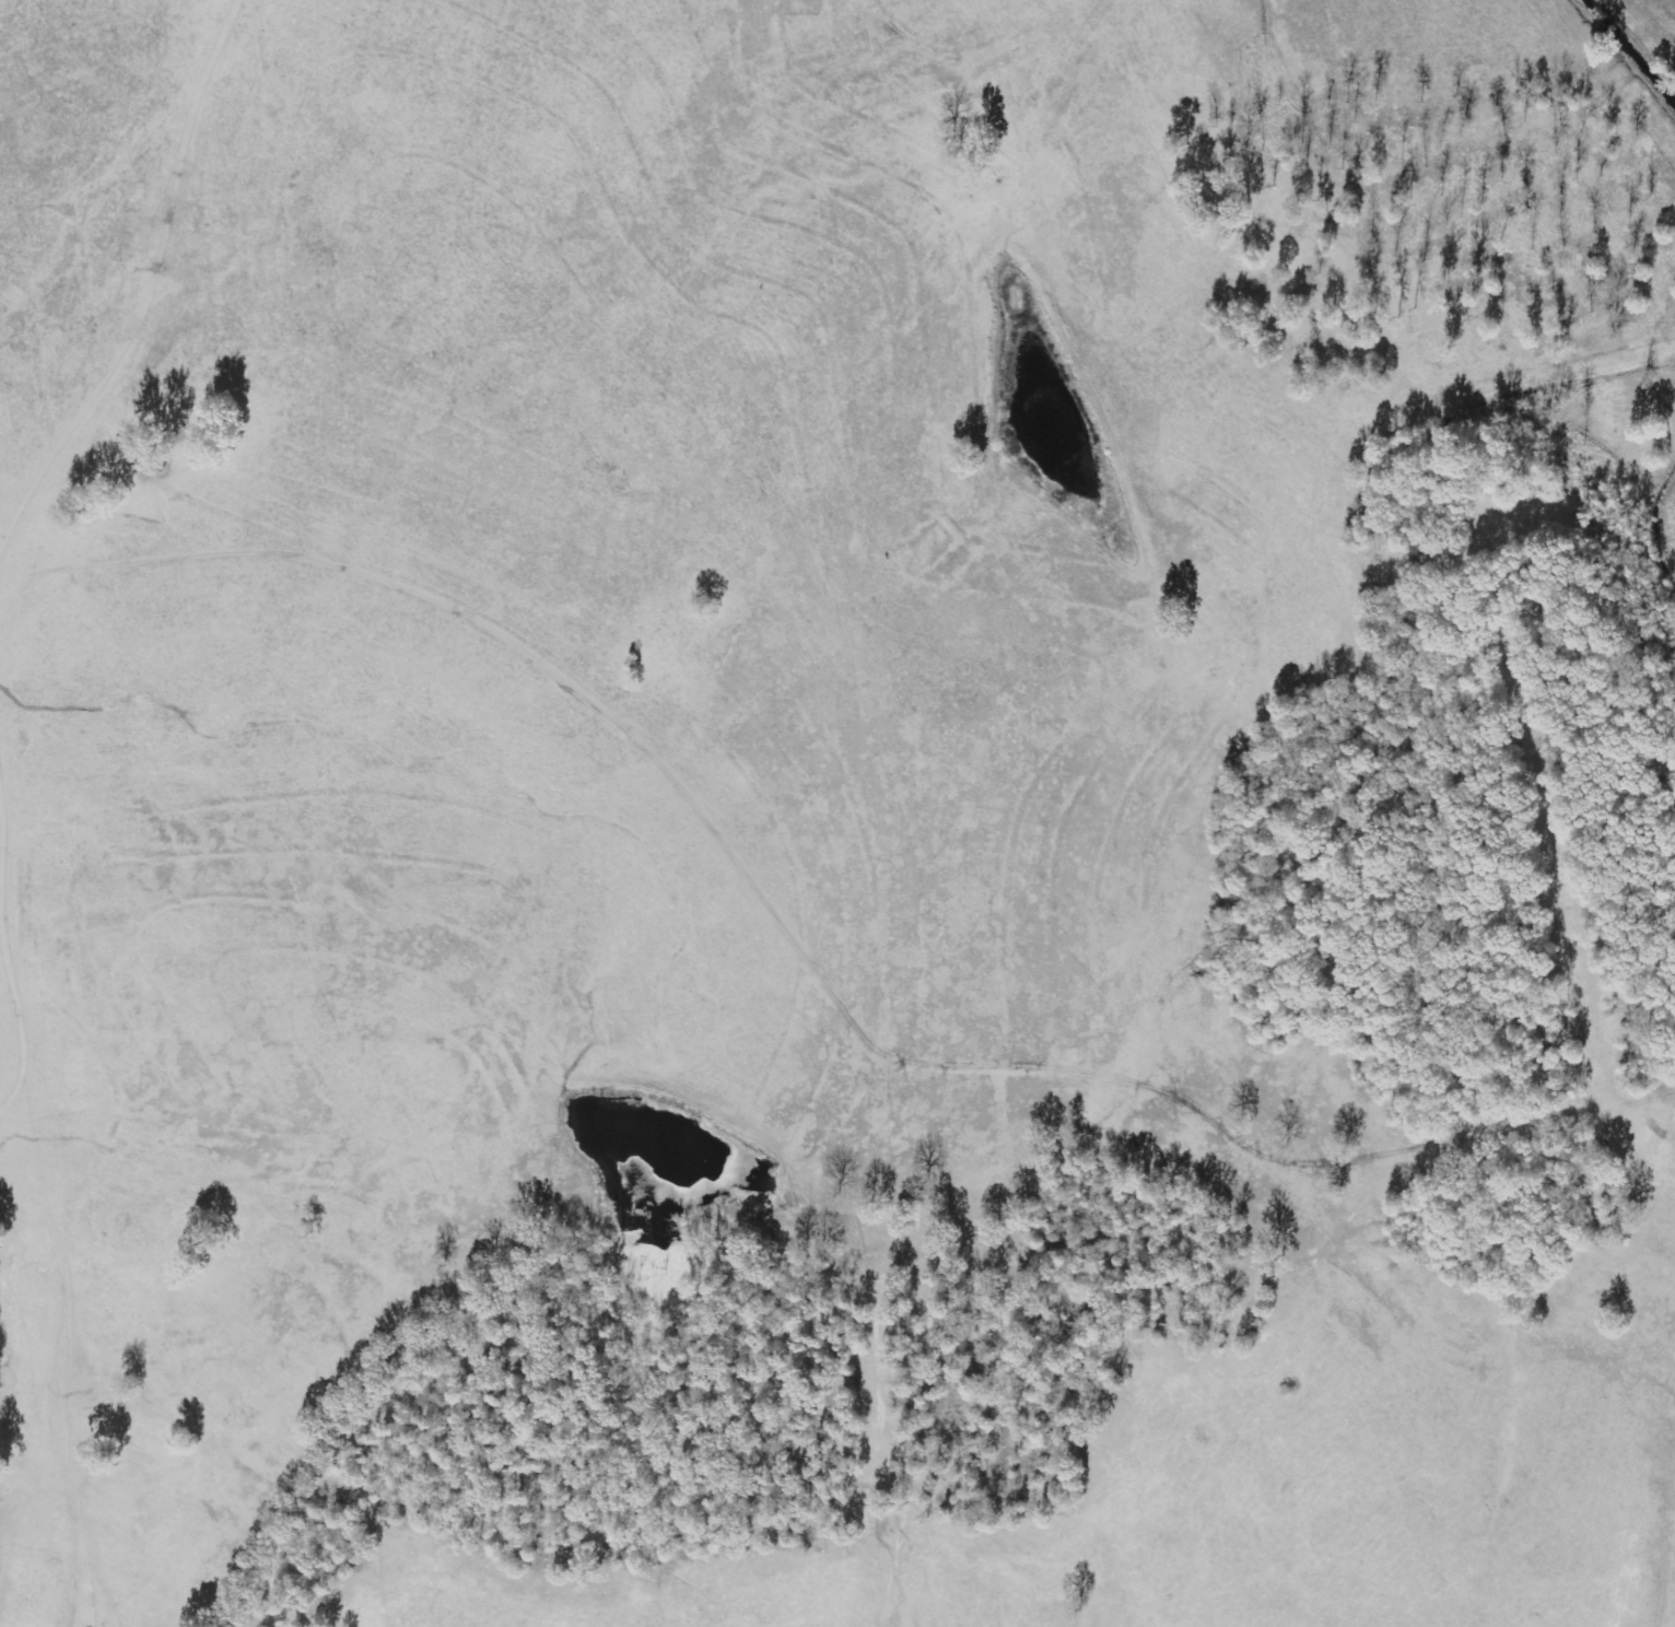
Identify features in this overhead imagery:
road: (137, 294)
road: (14, 1002)

